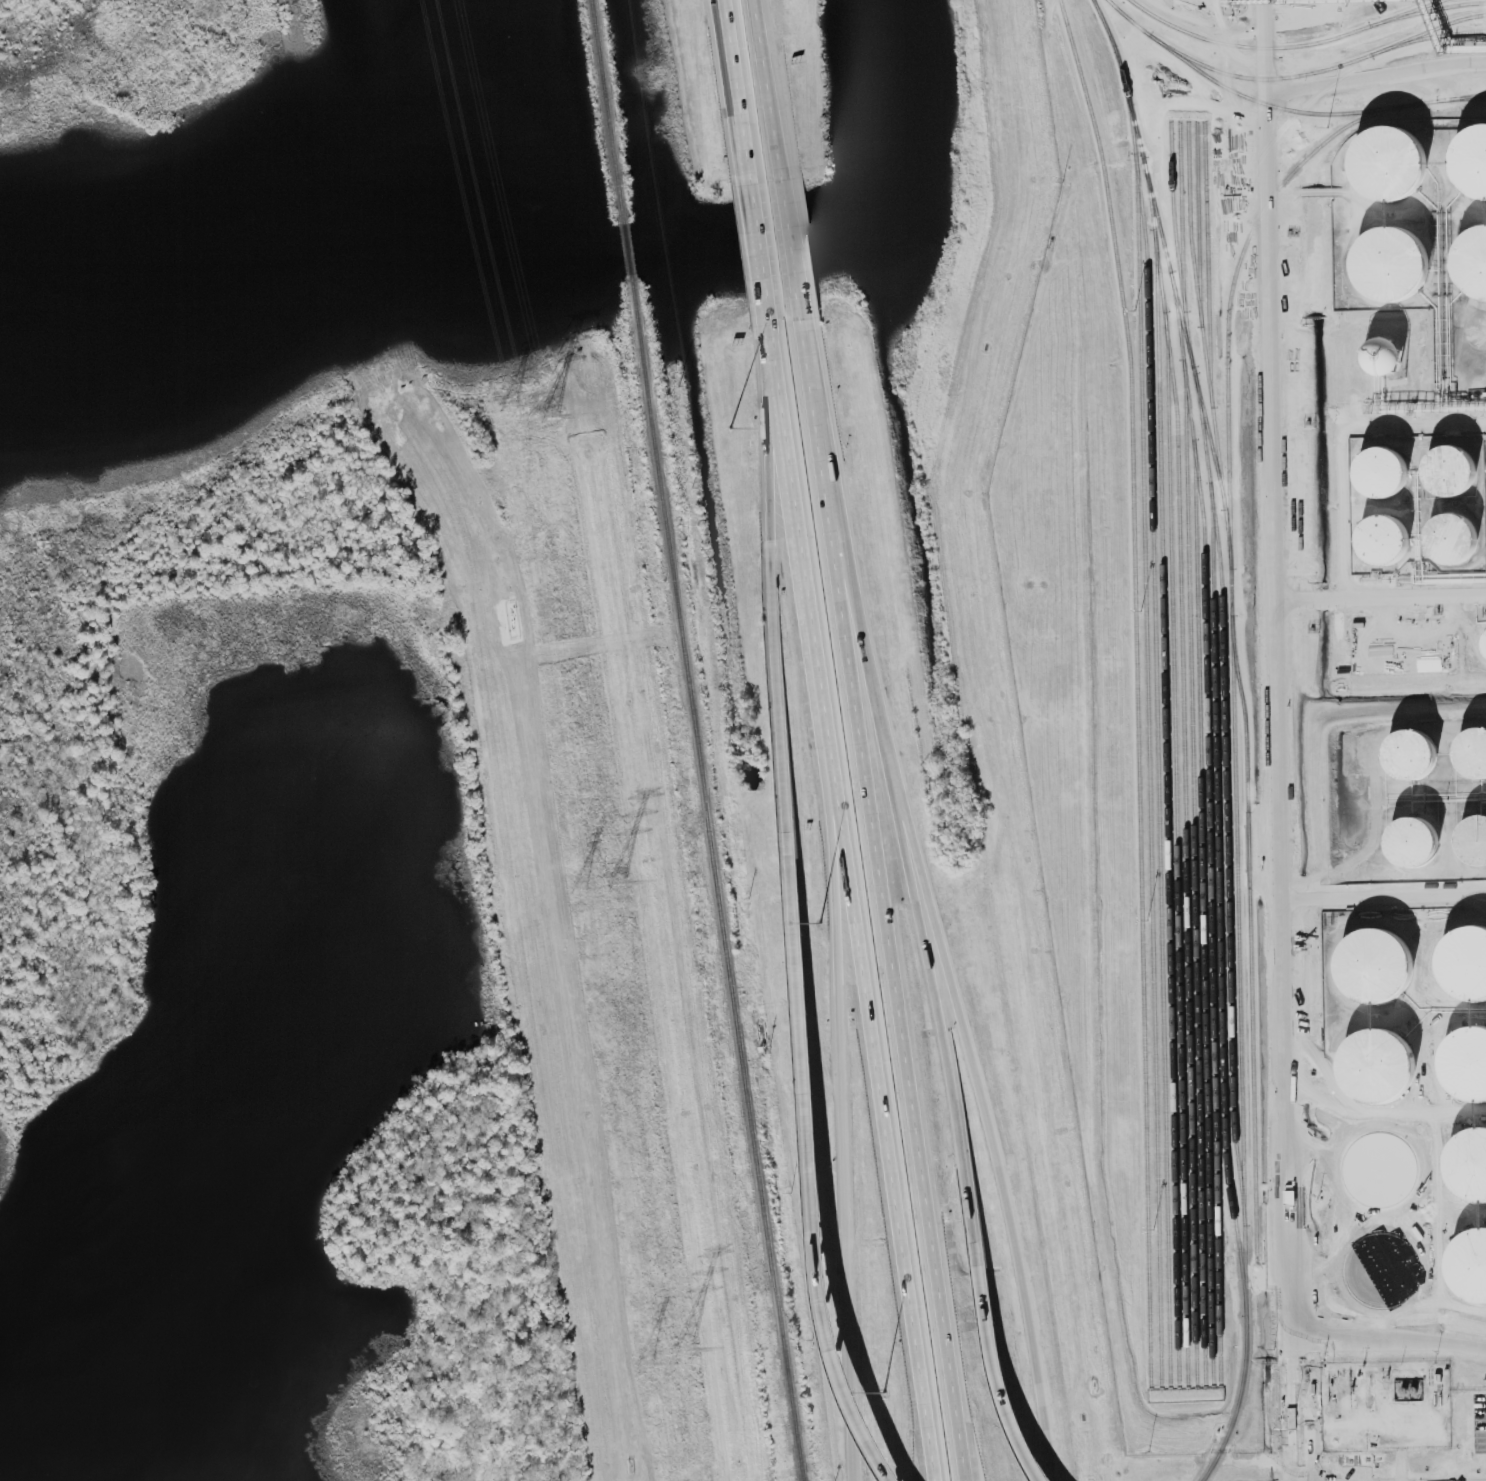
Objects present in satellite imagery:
railway: (1427, 11)
railway: (1428, 31)
railway: (1428, 37)
railway: (1285, 47)
road: (1375, 76)
railway: (1257, 79)
road: (778, 85)
railway: (1331, 85)
road: (739, 88)
railway: (1454, 98)
railway: (1461, 98)
railway: (1250, 99)
railway: (606, 111)
railway: (1274, 138)
building: (1470, 159)
storage tank: (1470, 159)
building: (1393, 160)
storage tank: (1393, 160)
railway: (1174, 215)
railway: (1190, 221)
railway: (1182, 242)
road: (801, 249)
road: (762, 253)
railway: (627, 255)
railway: (1199, 262)
building: (1473, 263)
storage tank: (1473, 263)
building: (1391, 266)
storage tank: (1391, 266)
railway: (1173, 281)
railway: (1232, 287)
railway: (1208, 313)
building: (1392, 347)
storage tank: (1392, 347)
road: (777, 352)
power tower: (508, 407)
power tower: (549, 417)
road: (1340, 444)
building: (1391, 462)
storage tank: (1391, 462)
building: (1460, 464)
storage tank: (1460, 464)
road: (778, 497)
building: (1462, 530)
storage tank: (1462, 530)
building: (1393, 531)
storage tank: (1393, 531)
road: (1381, 602)
building: (1485, 640)
storage tank: (1485, 640)
railway: (1137, 690)
railway: (1157, 732)
building: (1418, 743)
storage tank: (1418, 743)
building: (1476, 744)
storage tank: (1476, 744)
road: (780, 750)
road: (1281, 752)
railway: (1149, 769)
railway: (1185, 770)
railway: (1226, 798)
railway: (1168, 808)
railway: (1210, 827)
building: (1477, 832)
storage tank: (1477, 832)
building: (1426, 833)
storage tank: (1426, 833)
railway: (1175, 849)
road: (891, 874)
railway: (1195, 881)
power tower: (617, 883)
railway: (716, 885)
power tower: (577, 890)
road: (1385, 892)
railway: (1220, 899)
road: (854, 901)
railway: (1203, 912)
railway: (1251, 939)
railway: (1238, 942)
building: (1464, 965)
storage tank: (1464, 965)
building: (1375, 967)
storage tank: (1375, 967)
building: (1465, 1066)
storage tank: (1465, 1066)
building: (1378, 1068)
storage tank: (1378, 1068)
road: (840, 1080)
road: (981, 1147)
building: (1468, 1166)
storage tank: (1468, 1166)
road: (814, 1188)
building: (1290, 1197)
road: (972, 1232)
building: (1469, 1266)
storage tank: (1469, 1266)
road: (1292, 1317)
power tower: (683, 1348)
power tower: (644, 1363)
railway: (1238, 1401)
road: (962, 1452)
road: (930, 1454)

